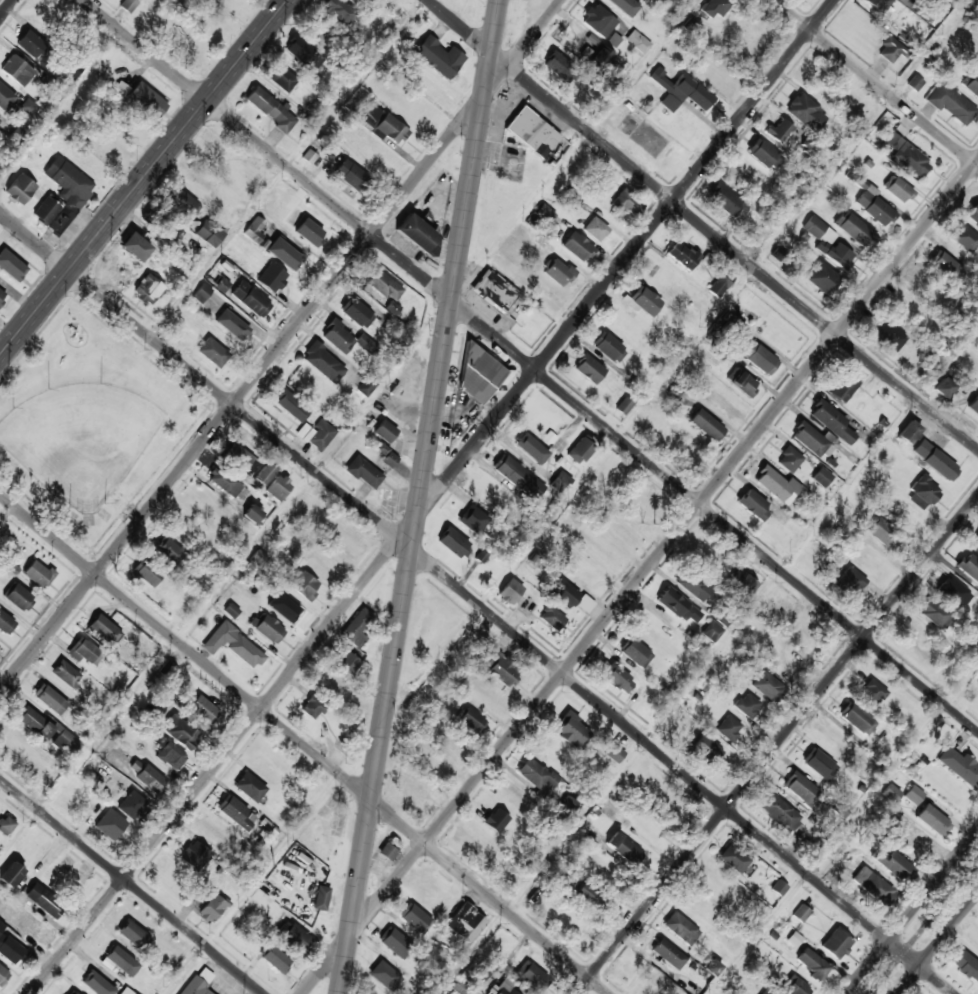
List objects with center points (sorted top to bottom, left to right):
building: (901, 1)
building: (621, 4)
building: (879, 4)
building: (128, 5)
building: (715, 7)
road: (7, 8)
building: (341, 10)
building: (598, 21)
building: (977, 24)
building: (637, 42)
building: (30, 44)
building: (891, 51)
building: (304, 53)
building: (438, 57)
building: (600, 59)
building: (558, 67)
building: (16, 70)
building: (714, 75)
building: (280, 77)
road: (875, 83)
building: (971, 83)
building: (914, 84)
building: (680, 91)
building: (148, 99)
building: (7, 100)
building: (951, 105)
building: (28, 107)
building: (270, 108)
building: (368, 113)
building: (806, 113)
building: (391, 129)
building: (532, 133)
building: (781, 133)
building: (764, 155)
building: (309, 156)
building: (912, 162)
building: (351, 176)
road: (144, 178)
building: (20, 189)
building: (67, 190)
building: (899, 191)
building: (724, 200)
building: (184, 203)
building: (627, 204)
building: (875, 209)
building: (45, 211)
building: (973, 214)
building: (542, 217)
building: (155, 220)
road: (702, 225)
building: (253, 229)
building: (595, 229)
building: (856, 230)
building: (308, 232)
building: (209, 233)
building: (417, 233)
building: (965, 238)
building: (828, 244)
building: (135, 247)
building: (577, 247)
road: (221, 252)
building: (778, 253)
building: (682, 255)
building: (293, 257)
building: (11, 265)
building: (947, 268)
building: (558, 273)
building: (271, 277)
building: (823, 279)
building: (221, 284)
building: (382, 284)
building: (720, 284)
building: (148, 290)
building: (541, 290)
building: (494, 291)
building: (202, 293)
building: (2, 295)
building: (251, 299)
building: (645, 301)
building: (903, 310)
building: (356, 312)
building: (532, 322)
building: (731, 322)
building: (232, 324)
building: (890, 337)
building: (346, 338)
road: (279, 345)
building: (609, 347)
building: (212, 352)
building: (759, 358)
building: (323, 362)
road: (531, 365)
building: (589, 370)
building: (477, 377)
building: (744, 384)
building: (366, 386)
building: (843, 387)
building: (943, 389)
building: (292, 405)
building: (624, 406)
building: (974, 406)
building: (647, 420)
building: (831, 421)
building: (706, 425)
building: (385, 431)
building: (909, 433)
building: (316, 434)
building: (809, 439)
building: (529, 451)
building: (577, 452)
building: (388, 456)
building: (240, 458)
building: (789, 460)
building: (937, 462)
building: (606, 471)
building: (364, 472)
building: (263, 476)
building: (822, 477)
building: (519, 478)
building: (559, 482)
building: (226, 483)
building: (776, 485)
building: (278, 488)
building: (923, 493)
road: (419, 496)
road: (431, 497)
building: (753, 505)
building: (253, 513)
building: (467, 516)
road: (8, 517)
building: (884, 534)
building: (453, 543)
building: (976, 545)
building: (169, 551)
building: (259, 558)
building: (868, 560)
building: (969, 566)
building: (146, 572)
building: (38, 574)
road: (640, 576)
building: (741, 582)
building: (692, 583)
building: (849, 583)
building: (304, 585)
building: (510, 591)
building: (952, 591)
building: (563, 593)
building: (18, 597)
road: (477, 603)
building: (678, 606)
building: (283, 608)
building: (774, 609)
building: (231, 610)
building: (935, 613)
building: (551, 617)
building: (5, 623)
building: (267, 627)
building: (356, 628)
building: (105, 629)
building: (711, 631)
building: (233, 644)
building: (84, 652)
building: (635, 652)
building: (787, 662)
road: (157, 663)
building: (348, 663)
building: (501, 667)
building: (65, 673)
building: (616, 676)
building: (767, 686)
building: (872, 692)
building: (487, 697)
building: (50, 699)
building: (747, 704)
building: (312, 707)
building: (202, 709)
building: (857, 718)
building: (471, 720)
building: (729, 728)
building: (47, 729)
building: (572, 730)
building: (180, 731)
road: (304, 743)
road: (776, 744)
building: (706, 748)
building: (612, 751)
building: (171, 756)
building: (819, 763)
building: (135, 765)
building: (960, 766)
building: (636, 771)
building: (535, 773)
building: (150, 778)
building: (249, 787)
building: (801, 788)
building: (890, 793)
building: (913, 794)
building: (664, 800)
building: (131, 804)
building: (779, 812)
building: (932, 820)
building: (495, 821)
building: (109, 824)
building: (6, 825)
road: (844, 829)
building: (911, 841)
building: (389, 848)
building: (623, 848)
building: (194, 855)
building: (733, 859)
road: (274, 860)
building: (892, 864)
road: (541, 866)
building: (11, 874)
road: (132, 884)
building: (873, 886)
building: (779, 887)
building: (587, 894)
building: (321, 898)
building: (0, 899)
building: (44, 900)
building: (696, 904)
building: (211, 908)
road: (911, 912)
building: (800, 913)
building: (413, 917)
building: (466, 923)
building: (29, 925)
road: (922, 925)
building: (681, 928)
building: (133, 934)
building: (293, 934)
building: (794, 938)
building: (395, 942)
building: (836, 944)
road: (937, 944)
building: (10, 947)
building: (669, 954)
building: (274, 957)
building: (120, 961)
building: (812, 963)
building: (965, 965)
building: (712, 967)
building: (3, 975)
building: (385, 976)
building: (522, 980)
building: (197, 982)
building: (97, 984)
building: (793, 986)
building: (126, 991)
building: (766, 992)
building: (71, 993)

